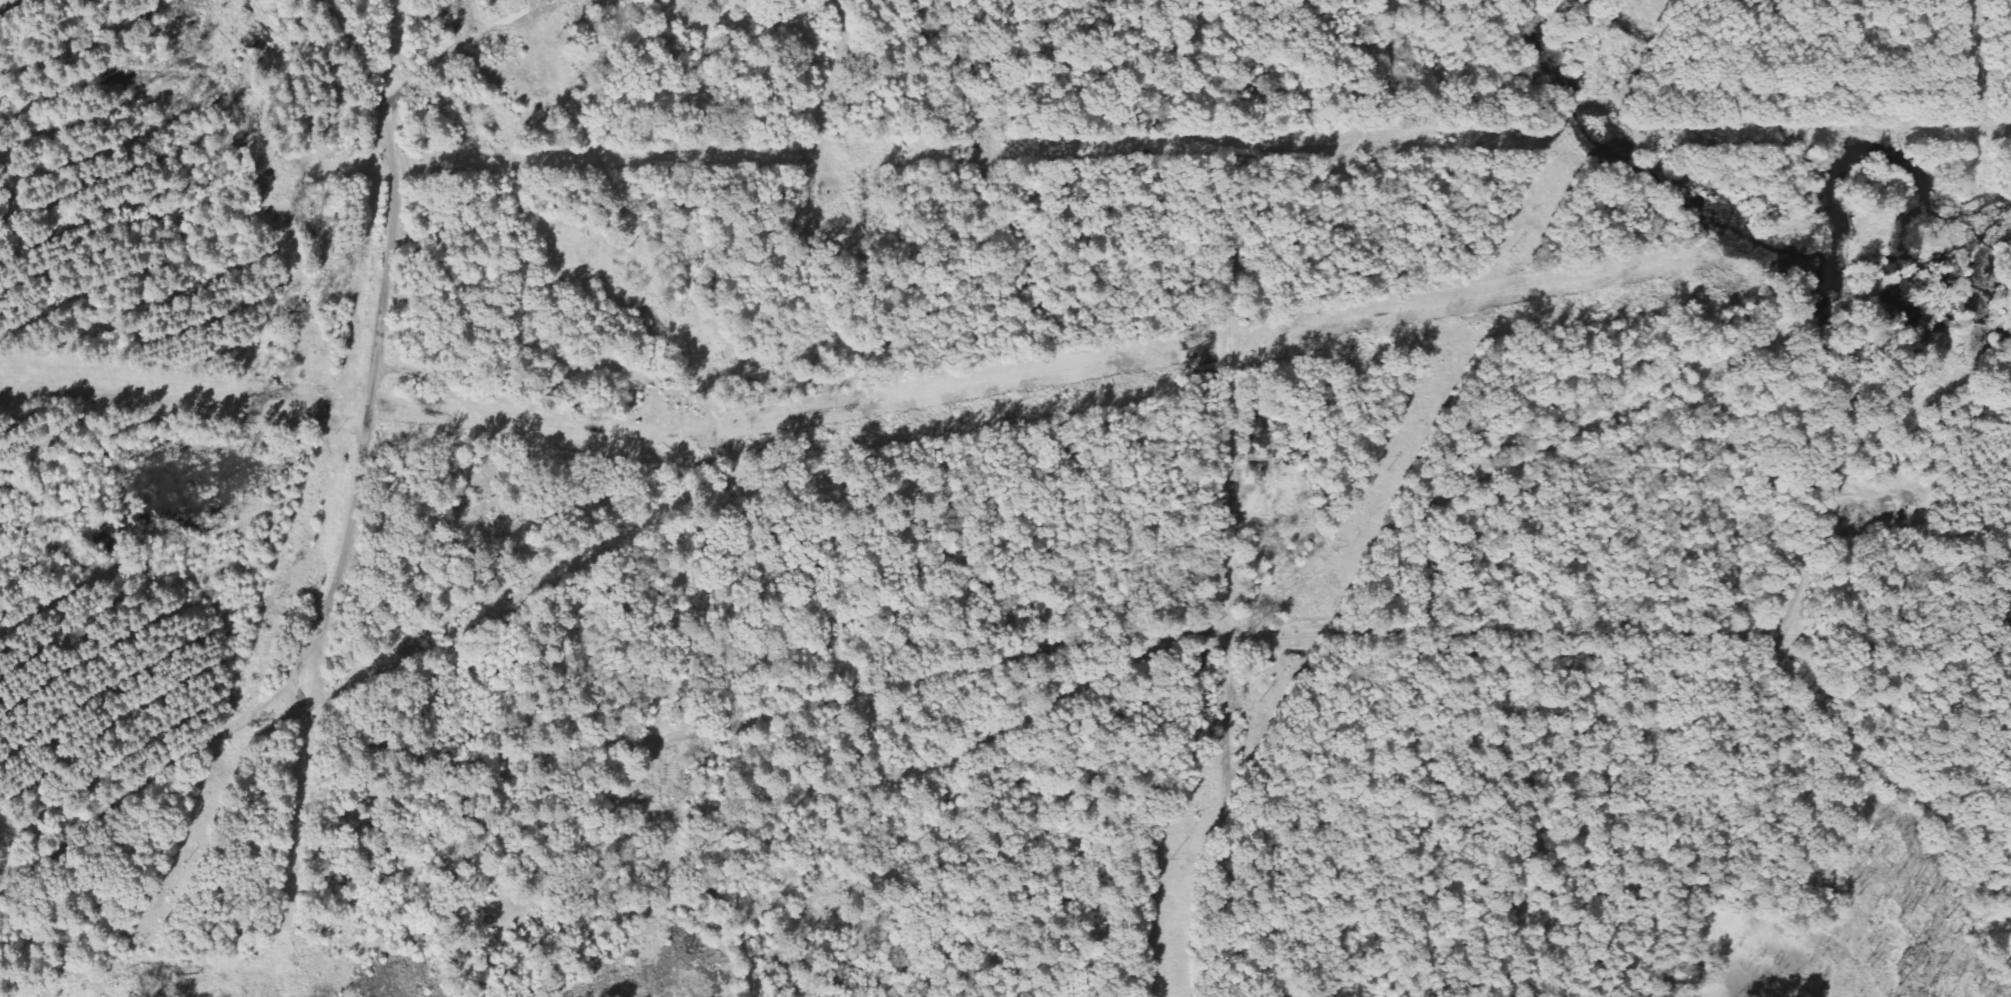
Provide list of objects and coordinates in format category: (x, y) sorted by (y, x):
road: (918, 676)

